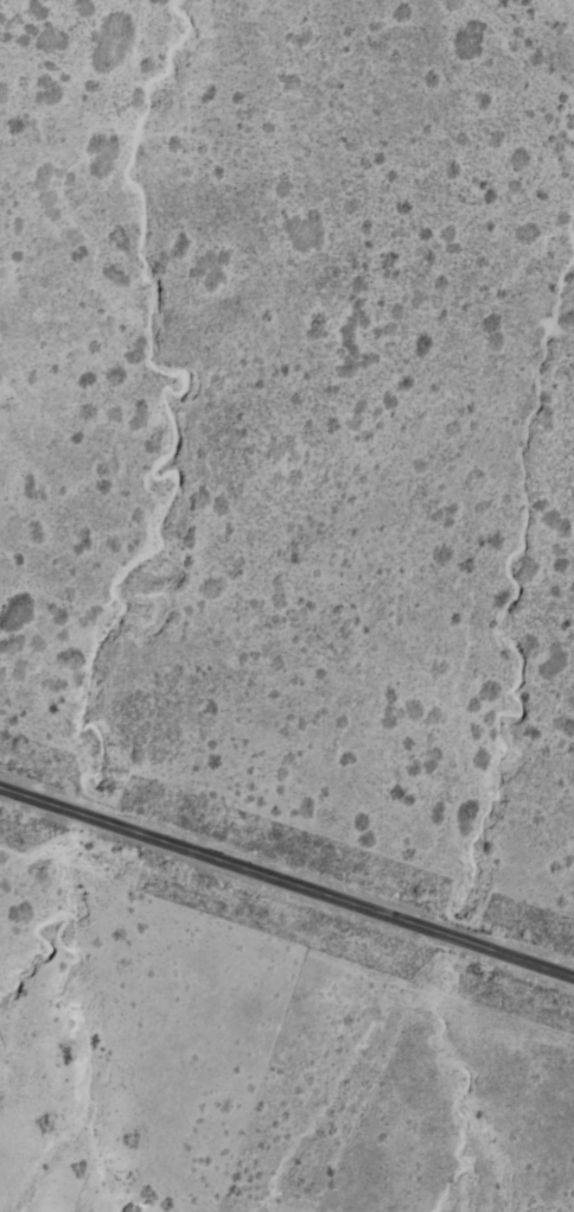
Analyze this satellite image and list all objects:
road: (287, 878)

